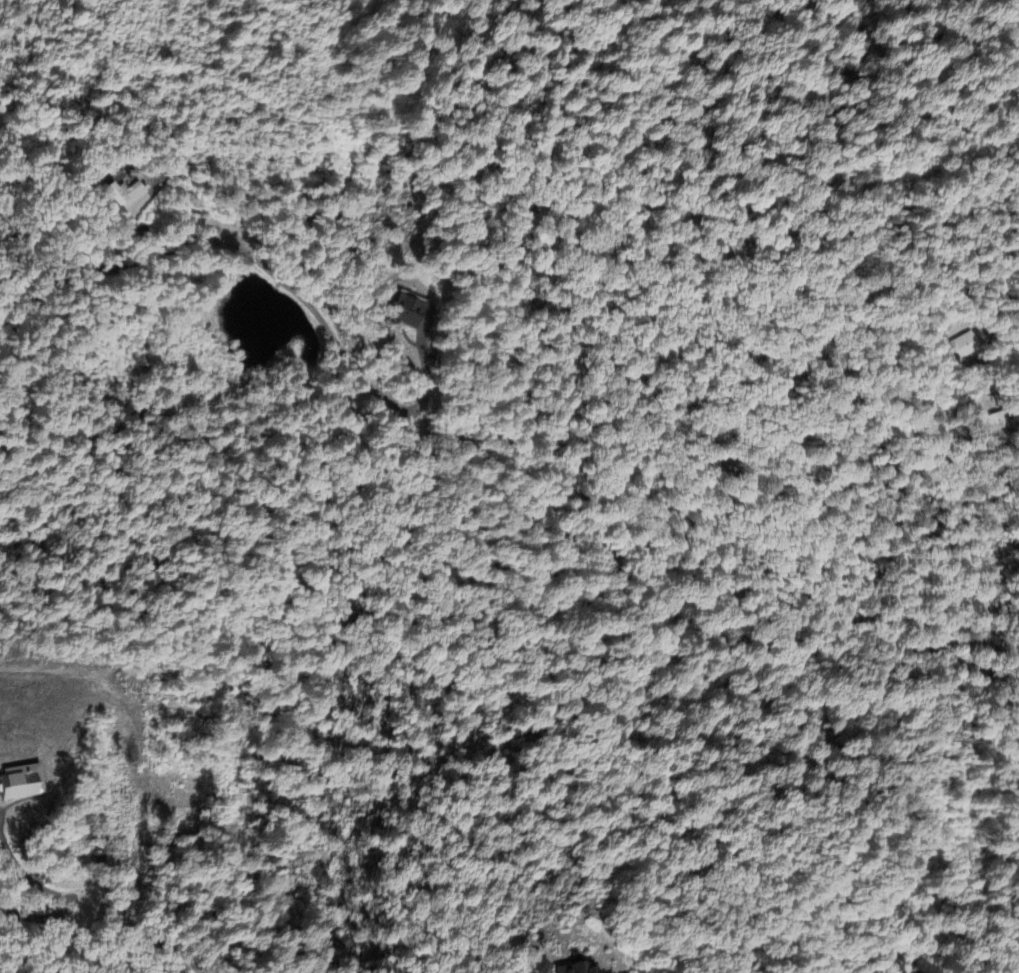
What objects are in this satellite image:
road: (268, 271)
building: (406, 311)
building: (966, 345)
building: (996, 421)
building: (1016, 545)
building: (21, 782)
building: (536, 966)
building: (575, 968)

